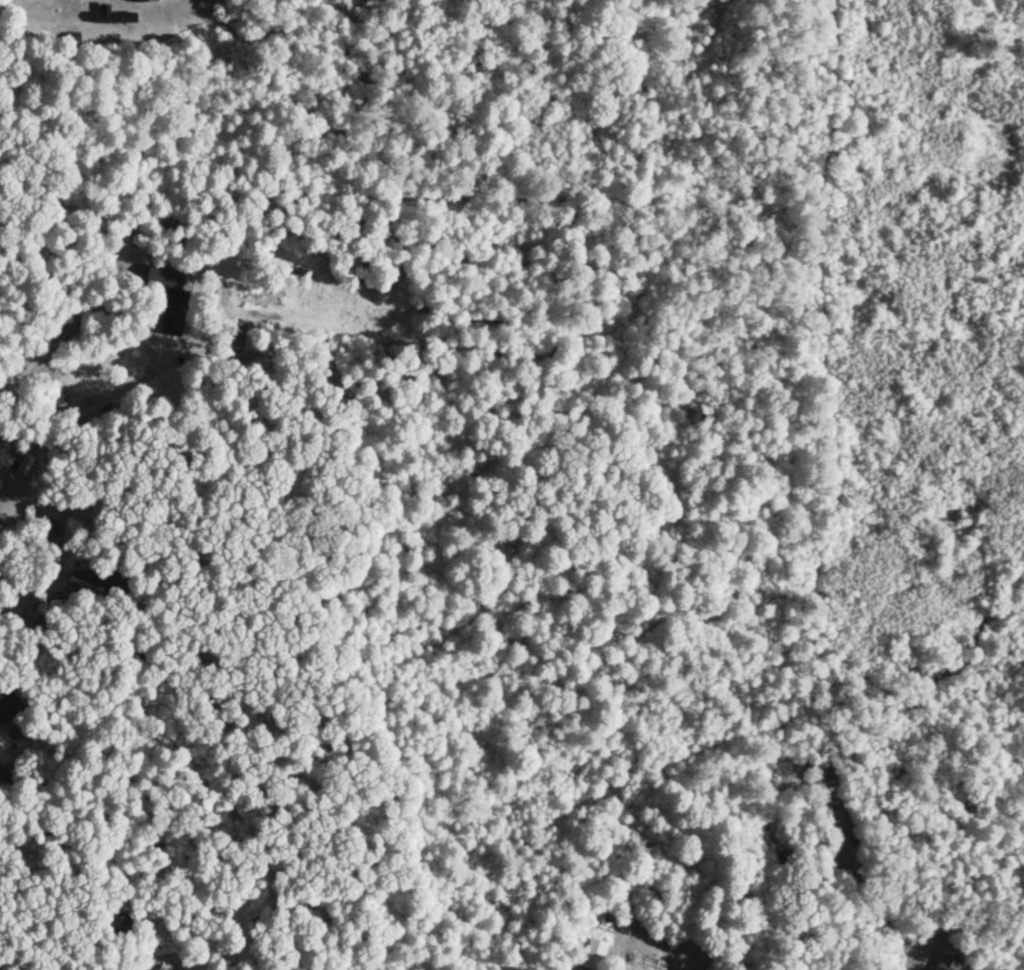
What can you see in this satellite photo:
building: (114, 16)
road: (5, 18)
building: (163, 279)
building: (174, 316)
road: (60, 333)
road: (117, 390)
building: (53, 397)
road: (64, 547)
building: (97, 585)
building: (34, 629)
building: (9, 709)
building: (594, 953)
building: (947, 962)
building: (154, 963)

